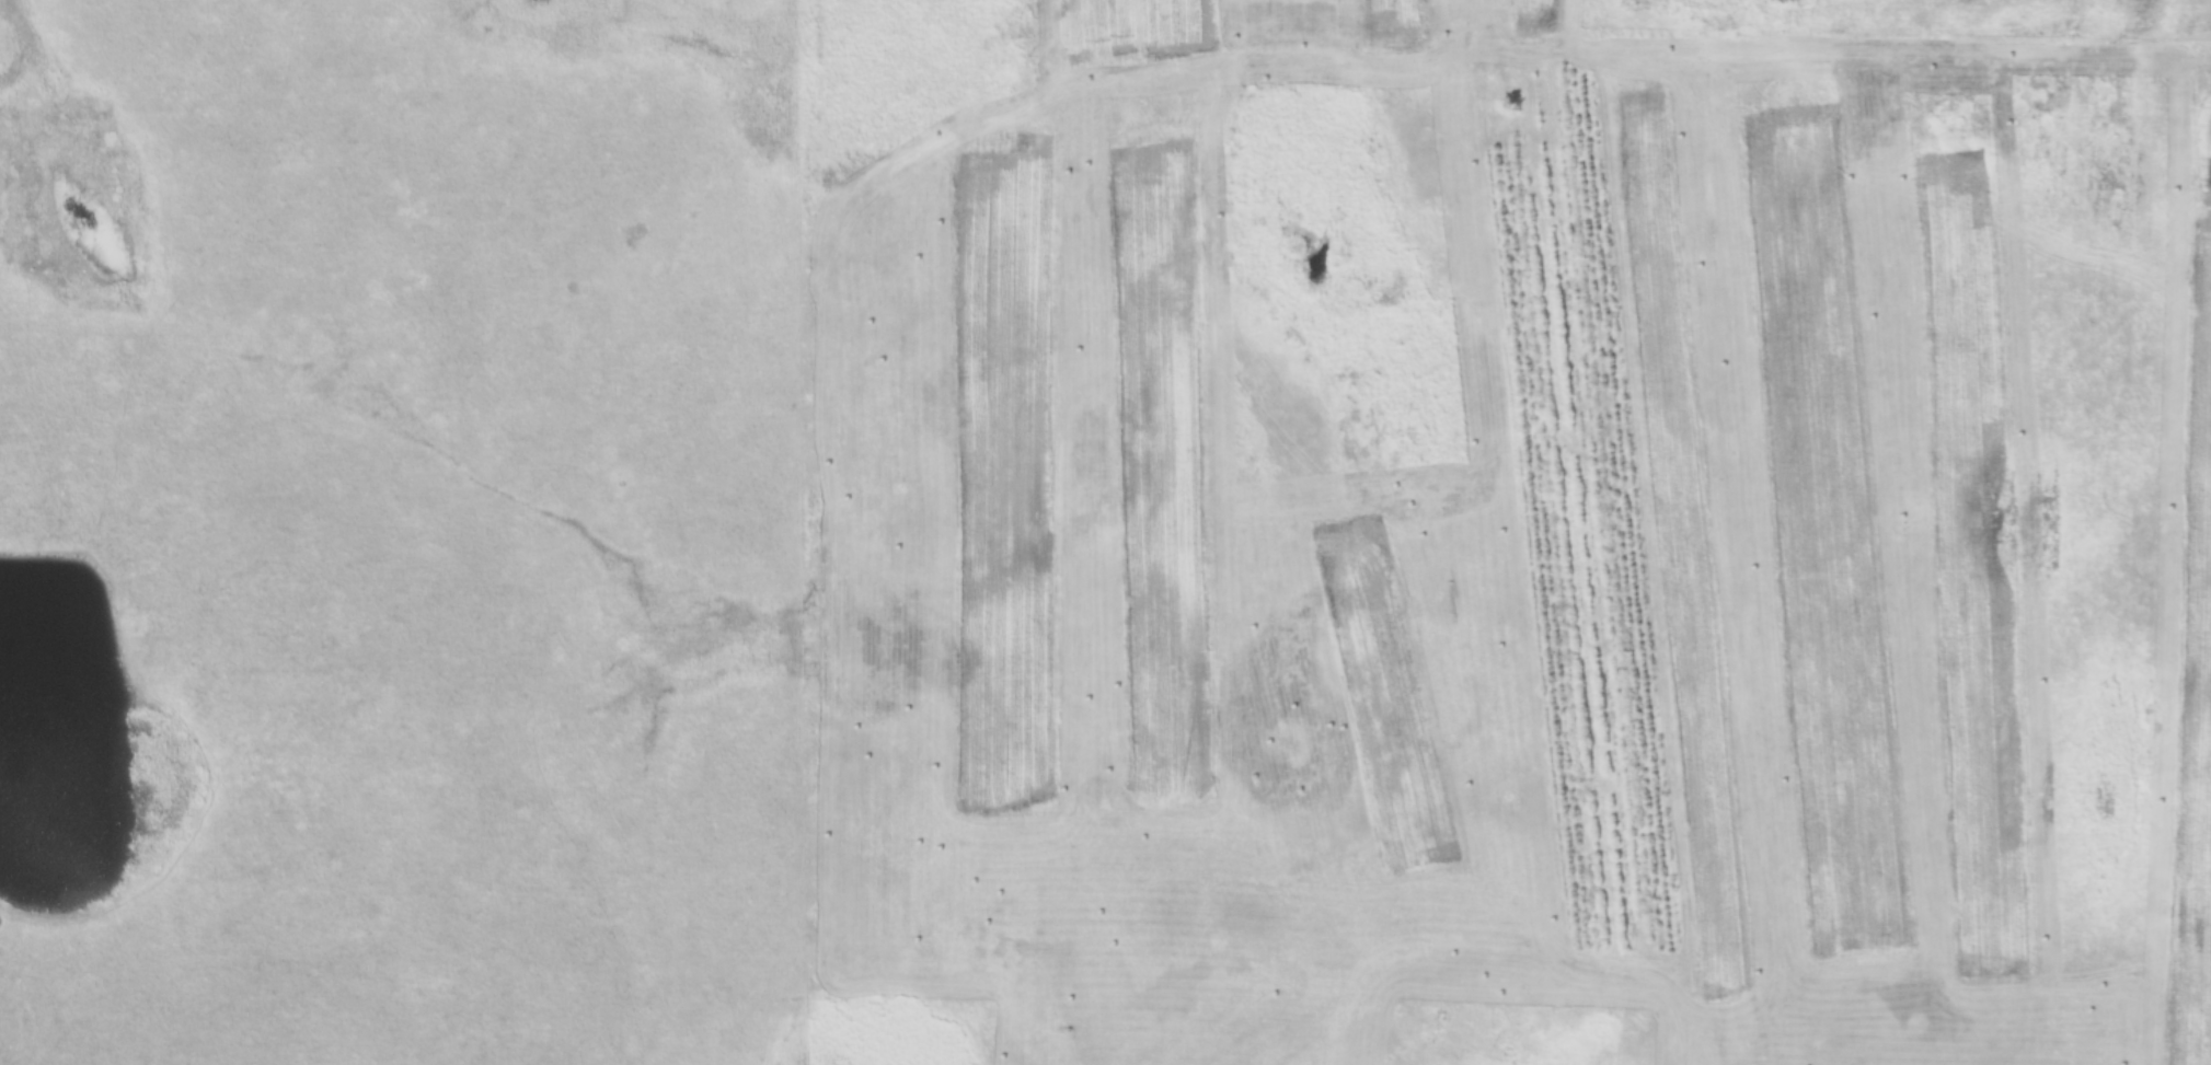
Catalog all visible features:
building: (1832, 1055)

